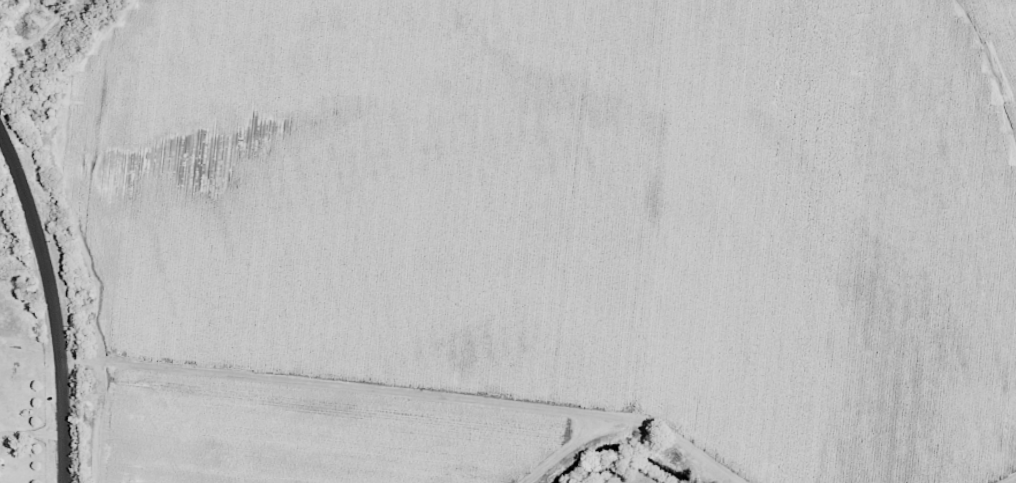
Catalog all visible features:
road: (53, 305)
road: (31, 433)

